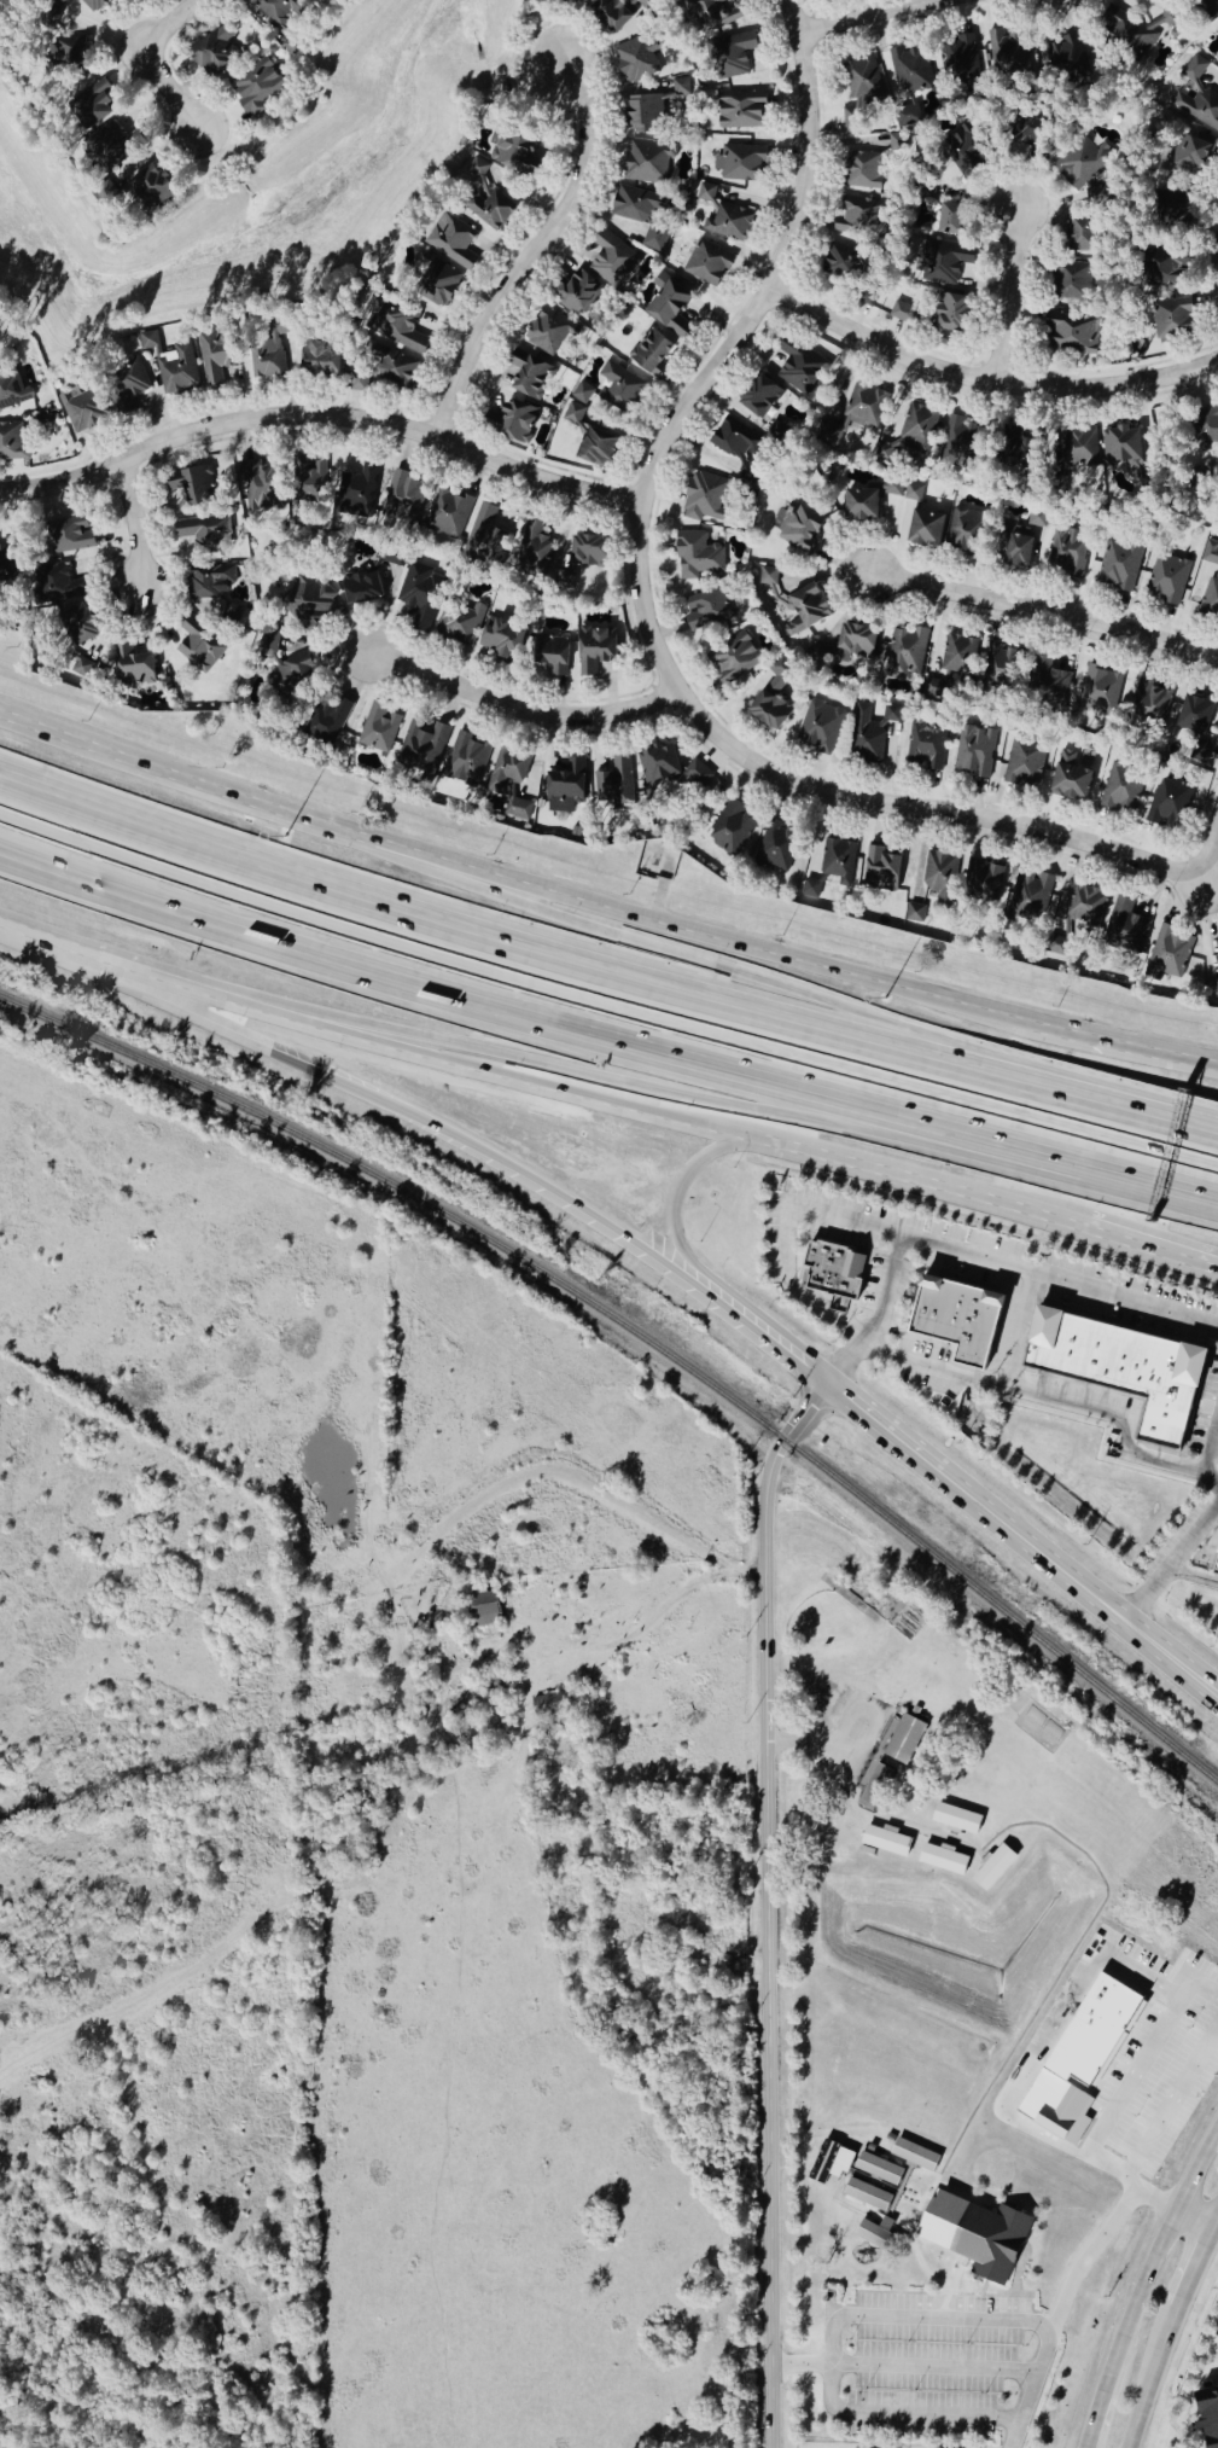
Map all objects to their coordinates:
building: (582, 0)
building: (59, 2)
building: (93, 5)
building: (610, 13)
building: (717, 13)
road: (861, 16)
building: (280, 18)
building: (47, 19)
building: (1129, 33)
building: (1006, 51)
building: (75, 54)
building: (211, 56)
building: (729, 57)
road: (147, 58)
building: (958, 58)
building: (1066, 58)
building: (635, 59)
building: (909, 69)
building: (256, 87)
building: (859, 94)
park: (528, 95)
building: (1196, 97)
building: (91, 105)
building: (740, 114)
building: (646, 115)
building: (907, 116)
building: (1030, 132)
building: (896, 141)
building: (110, 147)
building: (966, 151)
building: (512, 152)
building: (1190, 153)
building: (646, 161)
building: (742, 163)
building: (1078, 163)
building: (861, 170)
building: (151, 188)
building: (484, 199)
building: (1169, 211)
building: (641, 214)
building: (856, 220)
building: (951, 220)
building: (728, 222)
building: (1079, 233)
building: (451, 242)
road: (534, 252)
building: (611, 258)
building: (940, 262)
building: (706, 263)
building: (843, 263)
road: (781, 267)
building: (1161, 268)
building: (1071, 281)
building: (435, 283)
building: (577, 292)
building: (868, 296)
road: (1014, 296)
building: (670, 310)
building: (903, 312)
building: (949, 314)
building: (1172, 319)
building: (398, 326)
building: (547, 332)
building: (1071, 333)
building: (266, 347)
building: (649, 353)
building: (216, 356)
building: (319, 359)
building: (390, 366)
building: (802, 367)
building: (179, 371)
building: (528, 374)
building: (357, 380)
building: (124, 384)
road: (985, 384)
building: (10, 389)
building: (620, 389)
building: (583, 393)
building: (758, 396)
building: (864, 407)
building: (82, 409)
building: (573, 413)
road: (319, 417)
building: (511, 421)
building: (916, 428)
building: (1204, 428)
building: (776, 432)
building: (824, 434)
building: (13, 441)
building: (735, 441)
building: (961, 444)
building: (1120, 446)
building: (595, 448)
building: (1018, 448)
building: (1078, 449)
building: (747, 476)
building: (308, 482)
building: (258, 483)
building: (190, 488)
building: (902, 490)
building: (356, 492)
building: (403, 499)
building: (703, 499)
building: (859, 505)
building: (448, 512)
road: (142, 529)
building: (925, 529)
building: (799, 530)
building: (967, 533)
building: (69, 535)
building: (204, 535)
building: (483, 536)
building: (1013, 545)
building: (531, 550)
building: (587, 551)
building: (1067, 552)
building: (697, 556)
building: (6, 564)
building: (1119, 564)
building: (1166, 580)
building: (209, 582)
building: (1210, 582)
building: (58, 583)
building: (361, 588)
building: (420, 599)
road: (1049, 601)
building: (308, 603)
building: (792, 603)
building: (705, 609)
building: (229, 612)
building: (458, 624)
building: (77, 626)
building: (198, 641)
building: (501, 641)
building: (855, 641)
building: (268, 642)
building: (594, 650)
building: (550, 653)
building: (905, 653)
building: (956, 656)
building: (734, 661)
building: (132, 665)
building: (1001, 668)
building: (781, 670)
building: (296, 678)
building: (1044, 682)
building: (939, 685)
building: (1098, 690)
building: (1149, 707)
building: (768, 710)
road: (526, 711)
building: (1194, 715)
building: (326, 722)
building: (818, 727)
building: (378, 728)
building: (870, 732)
building: (926, 743)
building: (421, 749)
building: (974, 752)
building: (1199, 752)
building: (466, 761)
building: (1024, 763)
building: (1090, 763)
building: (669, 767)
building: (1068, 778)
building: (507, 781)
building: (565, 784)
building: (613, 785)
building: (1120, 787)
road: (232, 791)
road: (828, 801)
building: (1169, 803)
building: (729, 828)
building: (776, 847)
road: (1208, 849)
building: (835, 860)
building: (880, 870)
building: (939, 878)
building: (981, 883)
building: (810, 890)
building: (1030, 896)
building: (1085, 907)
building: (915, 913)
road: (436, 921)
building: (1125, 928)
road: (53, 944)
road: (750, 946)
road: (675, 950)
building: (1169, 953)
building: (1216, 988)
road: (197, 990)
road: (496, 998)
road: (1126, 1042)
road: (269, 1047)
road: (529, 1076)
road: (643, 1085)
road: (1049, 1087)
road: (1111, 1161)
road: (680, 1185)
road: (928, 1185)
road: (567, 1202)
road: (788, 1232)
road: (1152, 1252)
road: (979, 1256)
building: (831, 1270)
building: (956, 1316)
road: (1019, 1327)
road: (762, 1333)
railway: (643, 1338)
building: (1119, 1366)
road: (1059, 1400)
road: (882, 1426)
road: (1212, 1448)
road: (583, 1487)
building: (1216, 1562)
road: (1171, 1564)
road: (1193, 1575)
road: (1077, 1582)
building: (484, 1609)
railway: (617, 1621)
road: (655, 1624)
building: (548, 1703)
road: (805, 1739)
building: (907, 1739)
building: (876, 1786)
building: (957, 1818)
building: (887, 1841)
building: (944, 1859)
building: (996, 1867)
road: (768, 1906)
road: (1028, 2060)
building: (872, 2147)
building: (916, 2155)
building: (831, 2162)
building: (879, 2168)
building: (868, 2194)
road: (1197, 2222)
building: (979, 2234)
building: (880, 2237)
road: (1153, 2260)
road: (1086, 2263)
road: (1201, 2272)
road: (844, 2315)
building: (1216, 2334)
road: (933, 2366)
road: (1161, 2378)
building: (1208, 2415)
road: (1094, 2421)
road: (1016, 2434)

